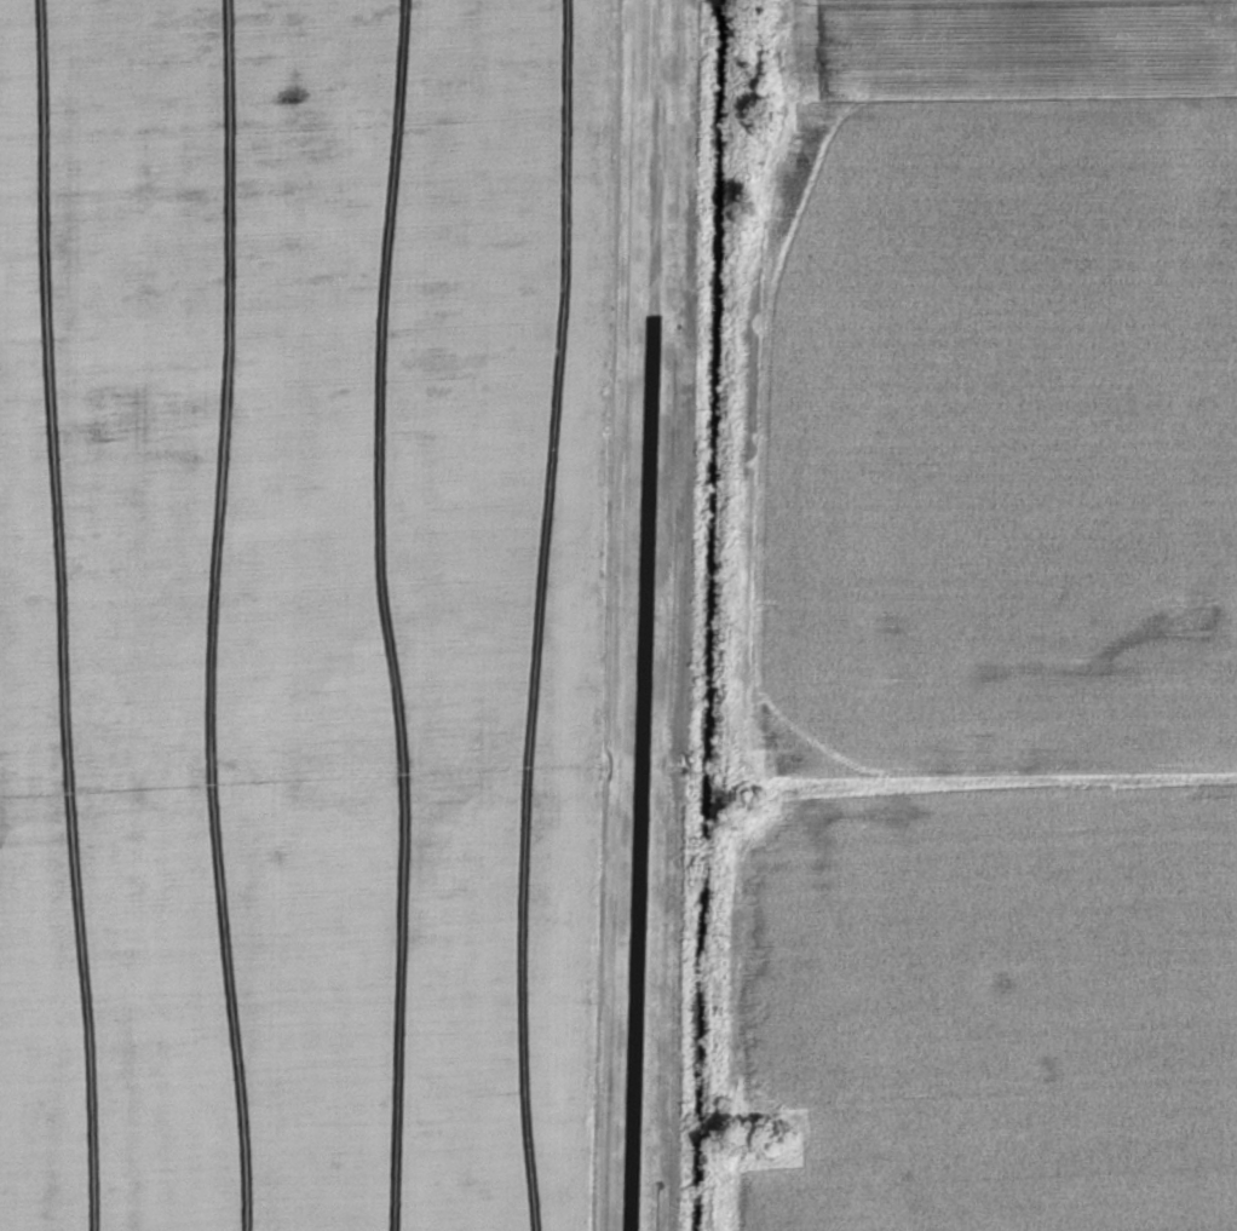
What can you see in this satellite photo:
road: (644, 615)

